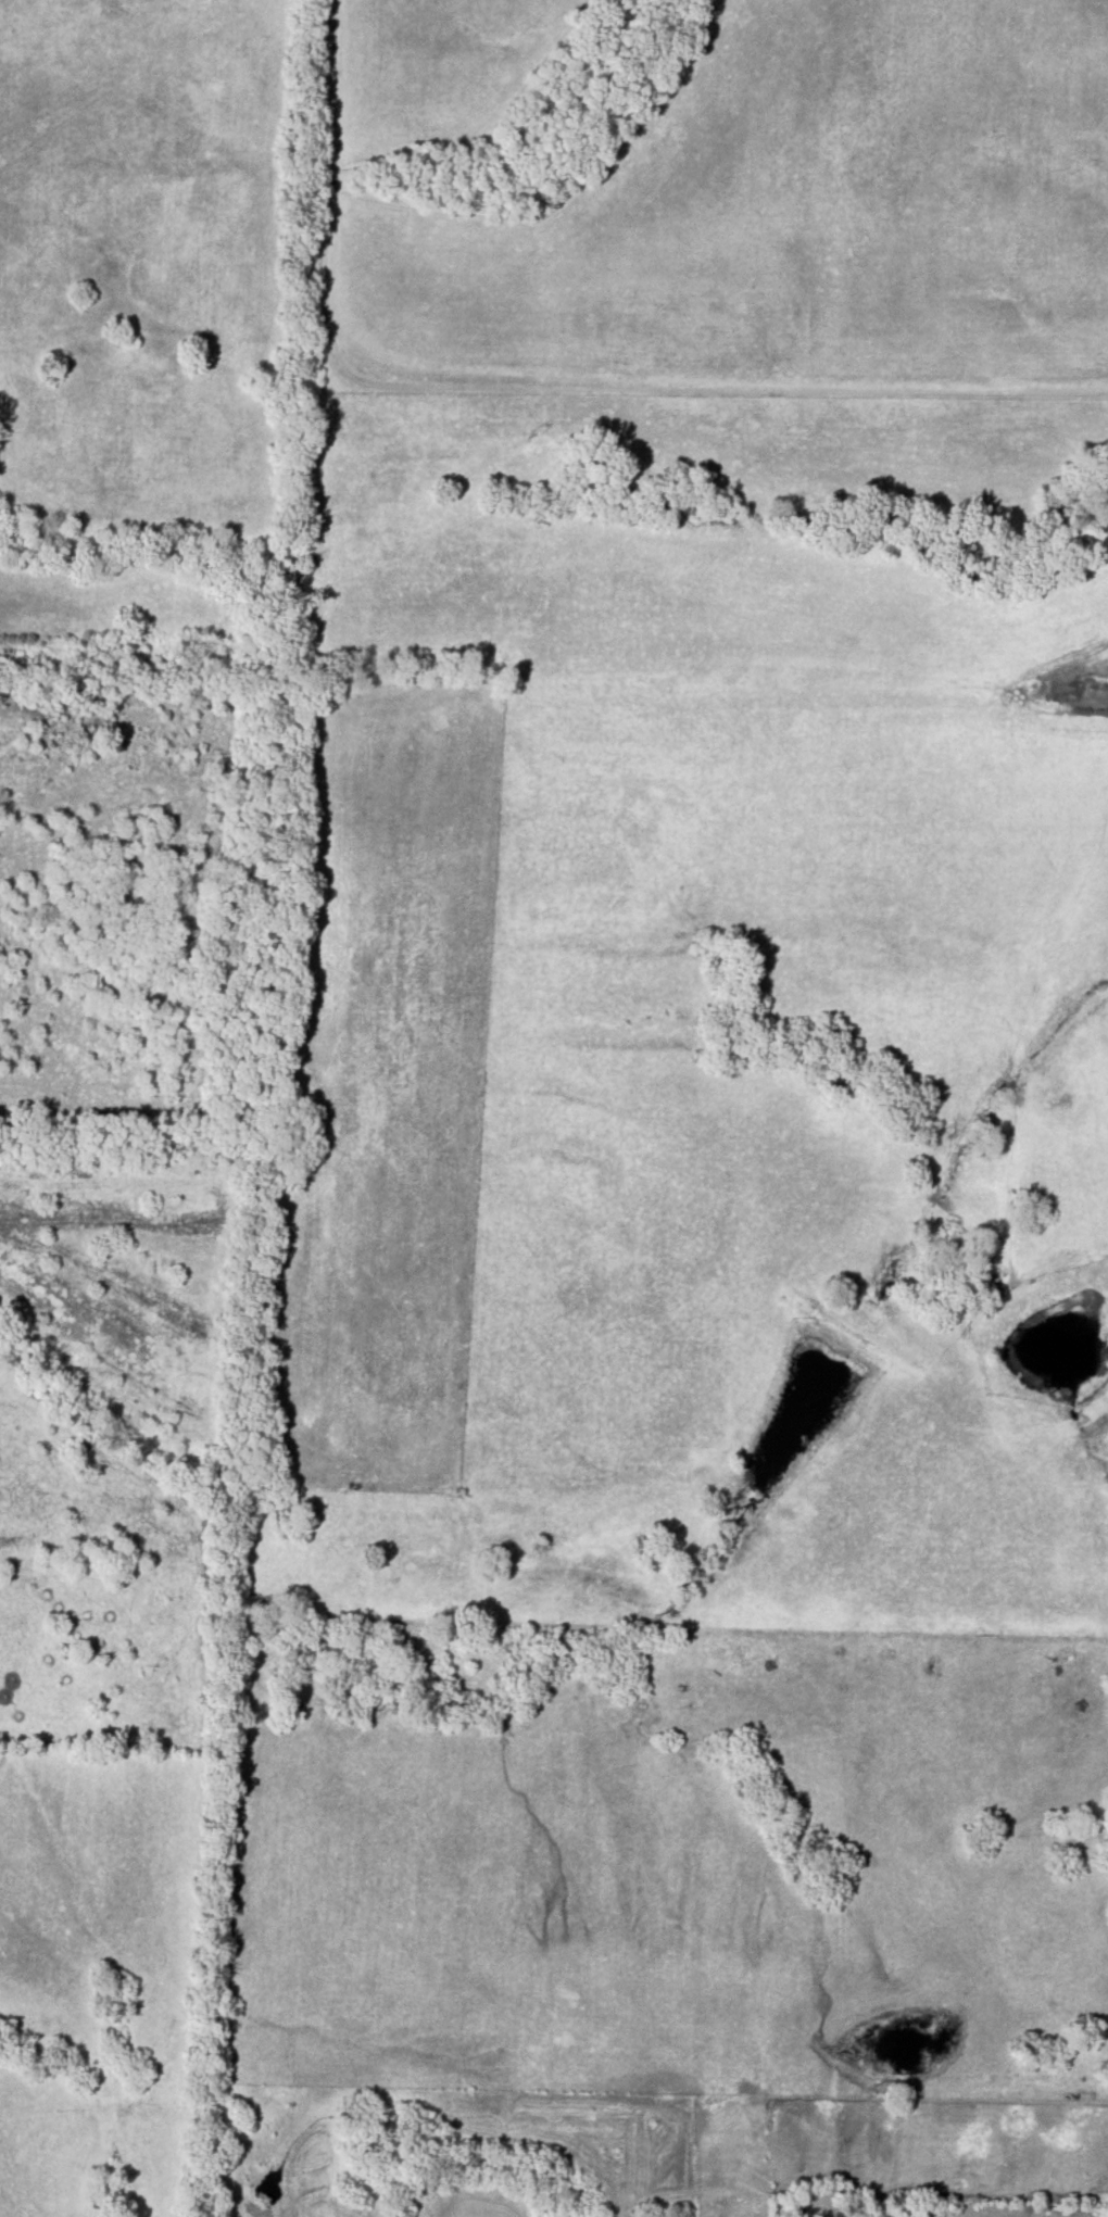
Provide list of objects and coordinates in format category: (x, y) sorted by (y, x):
building: (840, 2215)

